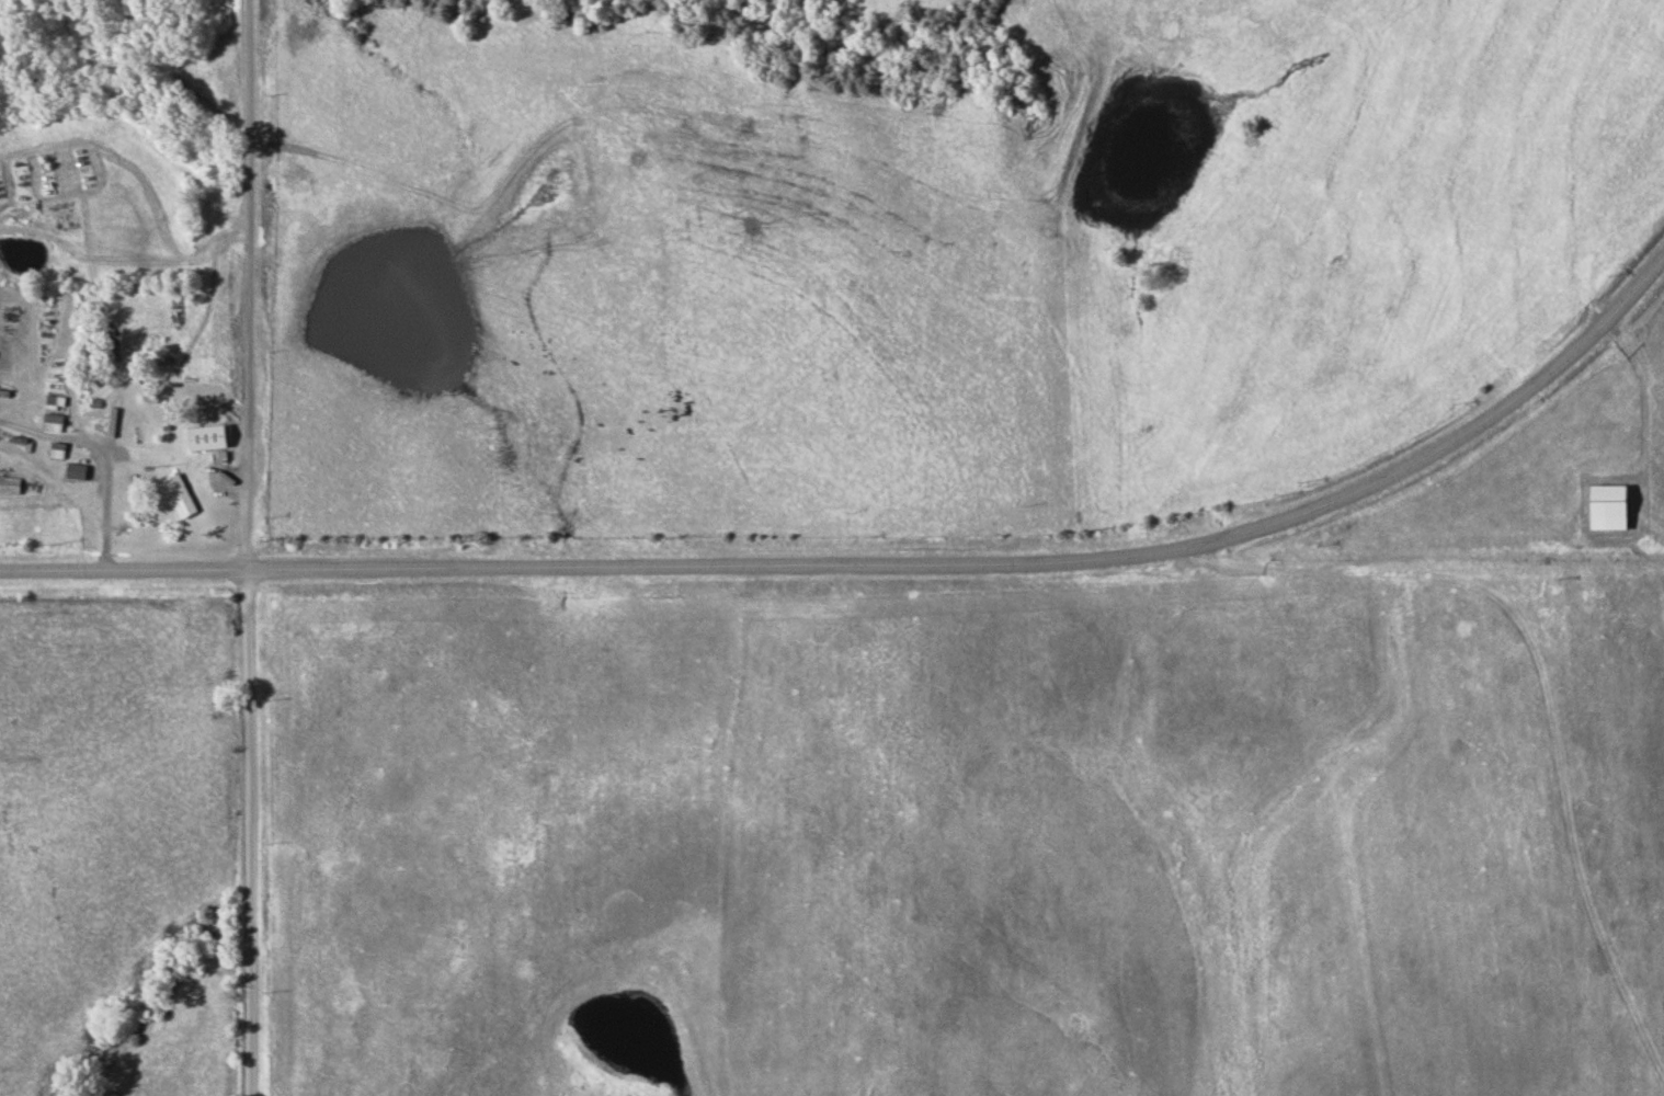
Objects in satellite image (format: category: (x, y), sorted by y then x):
road: (249, 284)
building: (54, 412)
building: (204, 437)
building: (9, 482)
building: (179, 495)
road: (880, 564)
road: (253, 832)

